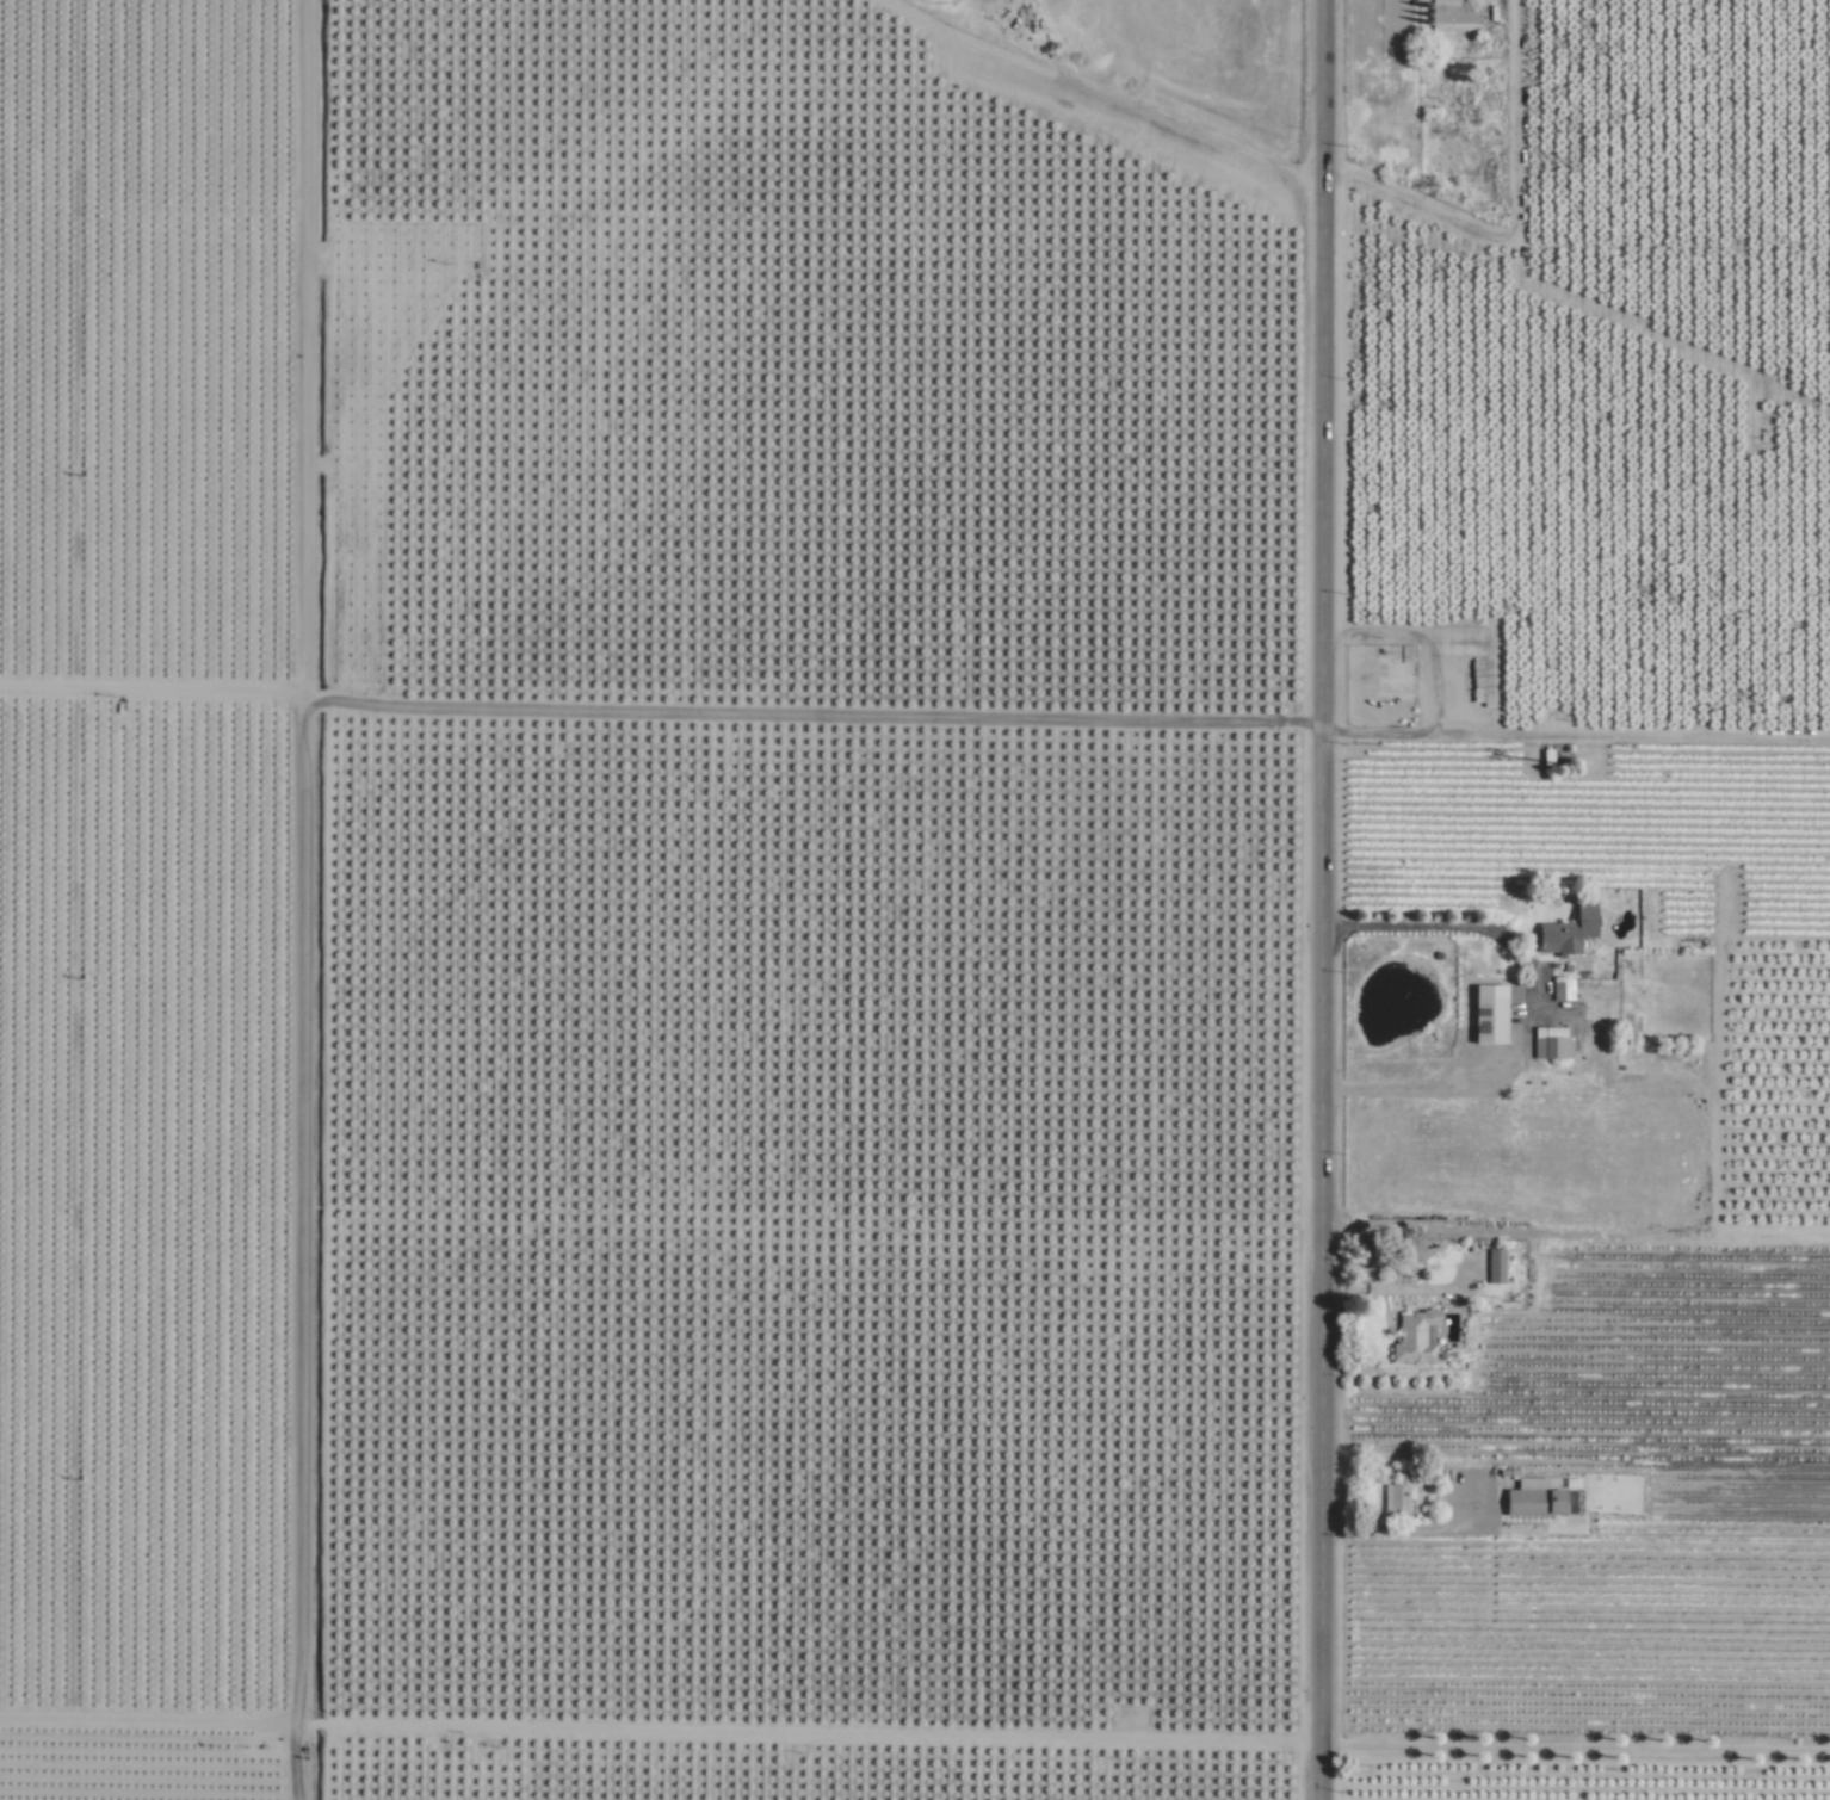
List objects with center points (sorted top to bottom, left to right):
building: (1454, 16)
road: (843, 717)
road: (1325, 899)
road: (1411, 927)
building: (1571, 932)
building: (1492, 1014)
building: (1553, 1044)
road: (1494, 1081)
building: (1497, 1267)
road: (1384, 1291)
building: (1417, 1338)
building: (1401, 1495)
building: (1538, 1499)
road: (1511, 1751)

